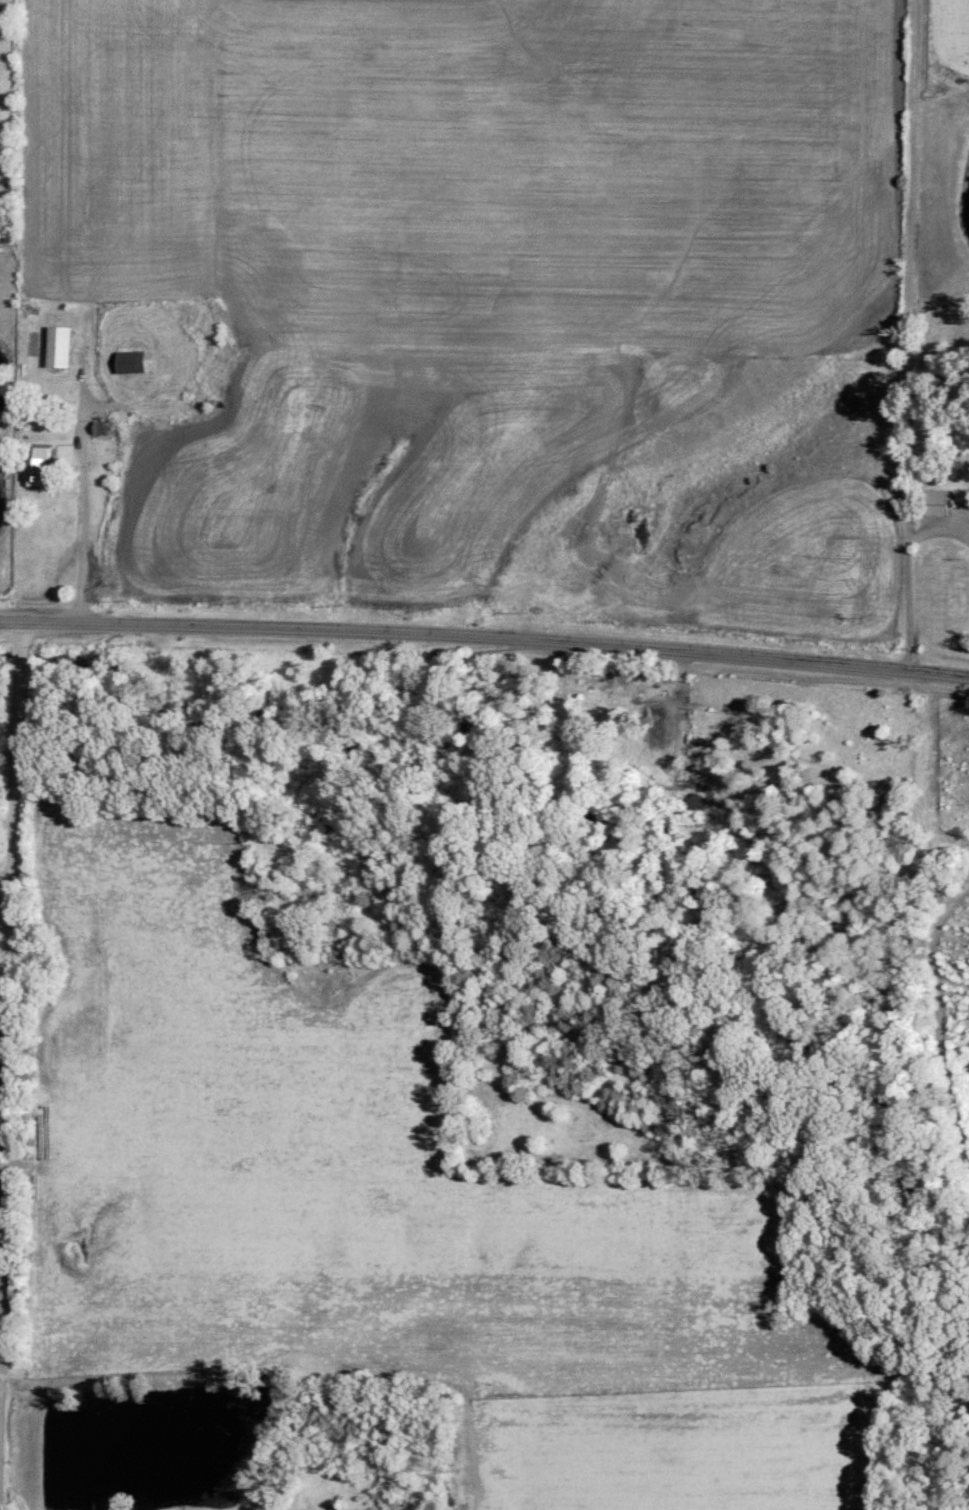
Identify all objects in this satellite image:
road: (933, 335)
building: (55, 346)
building: (129, 361)
building: (35, 467)
building: (933, 501)
road: (485, 636)
road: (2, 1066)

